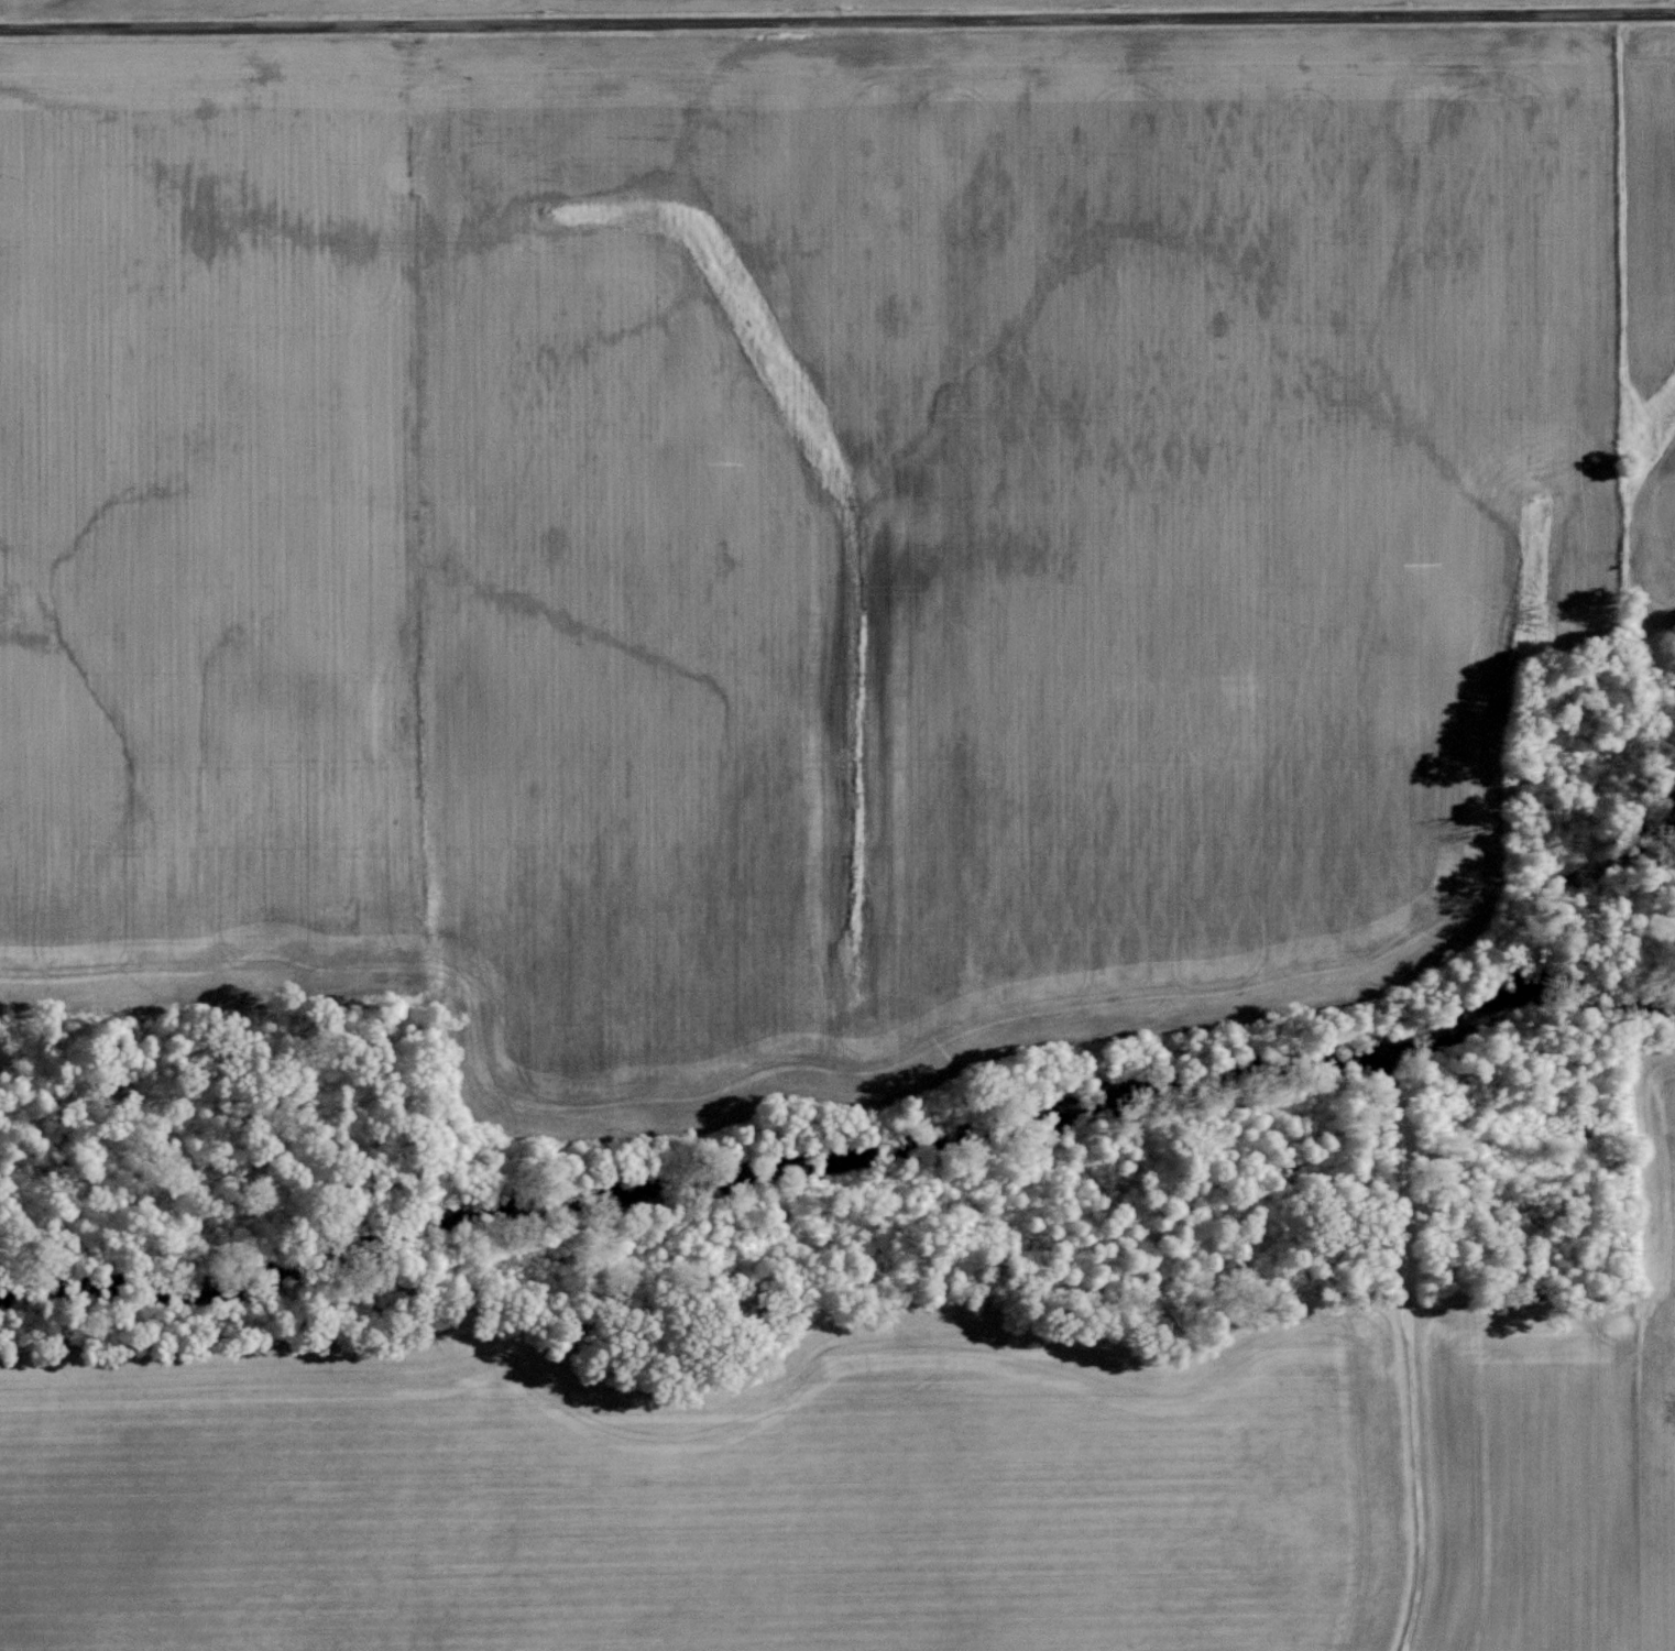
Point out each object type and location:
road: (836, 20)
river: (840, 1145)

